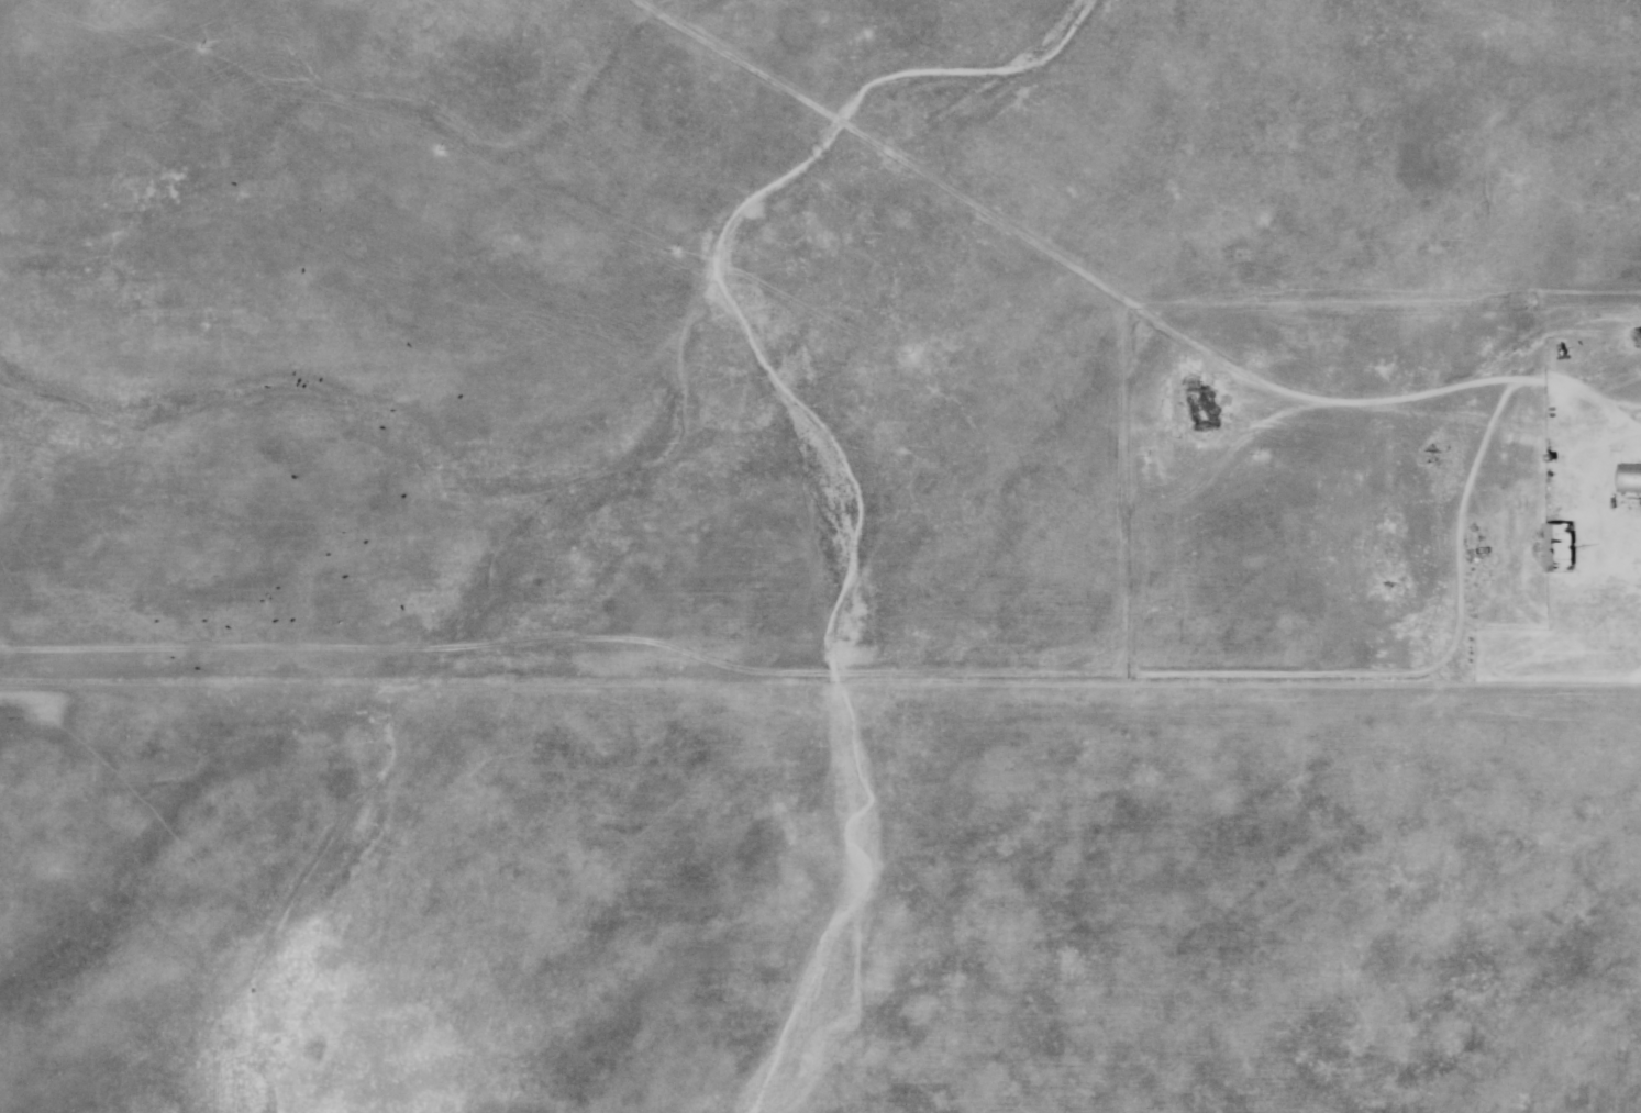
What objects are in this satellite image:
road: (1115, 301)
building: (1630, 480)
building: (1562, 550)
road: (889, 674)

